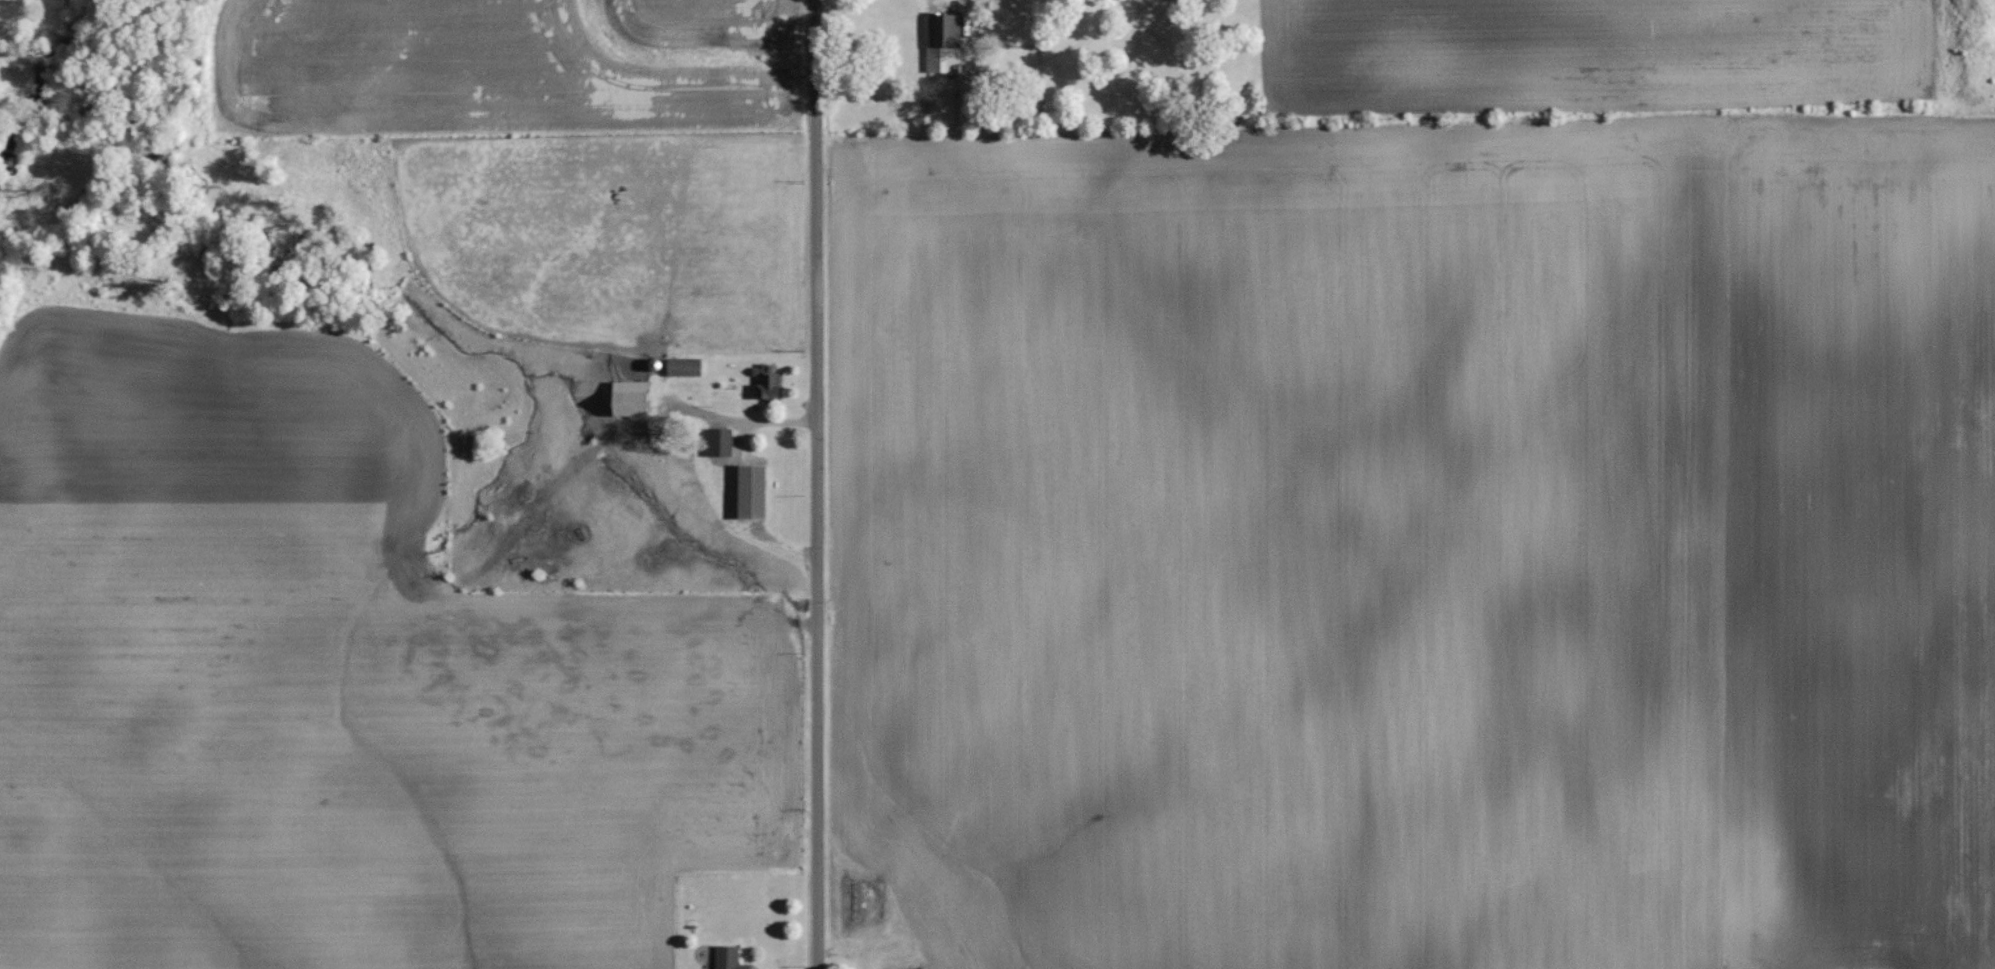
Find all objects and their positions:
building: (941, 42)
building: (680, 366)
building: (763, 382)
building: (624, 398)
building: (716, 442)
road: (805, 484)
building: (747, 491)
building: (725, 957)

